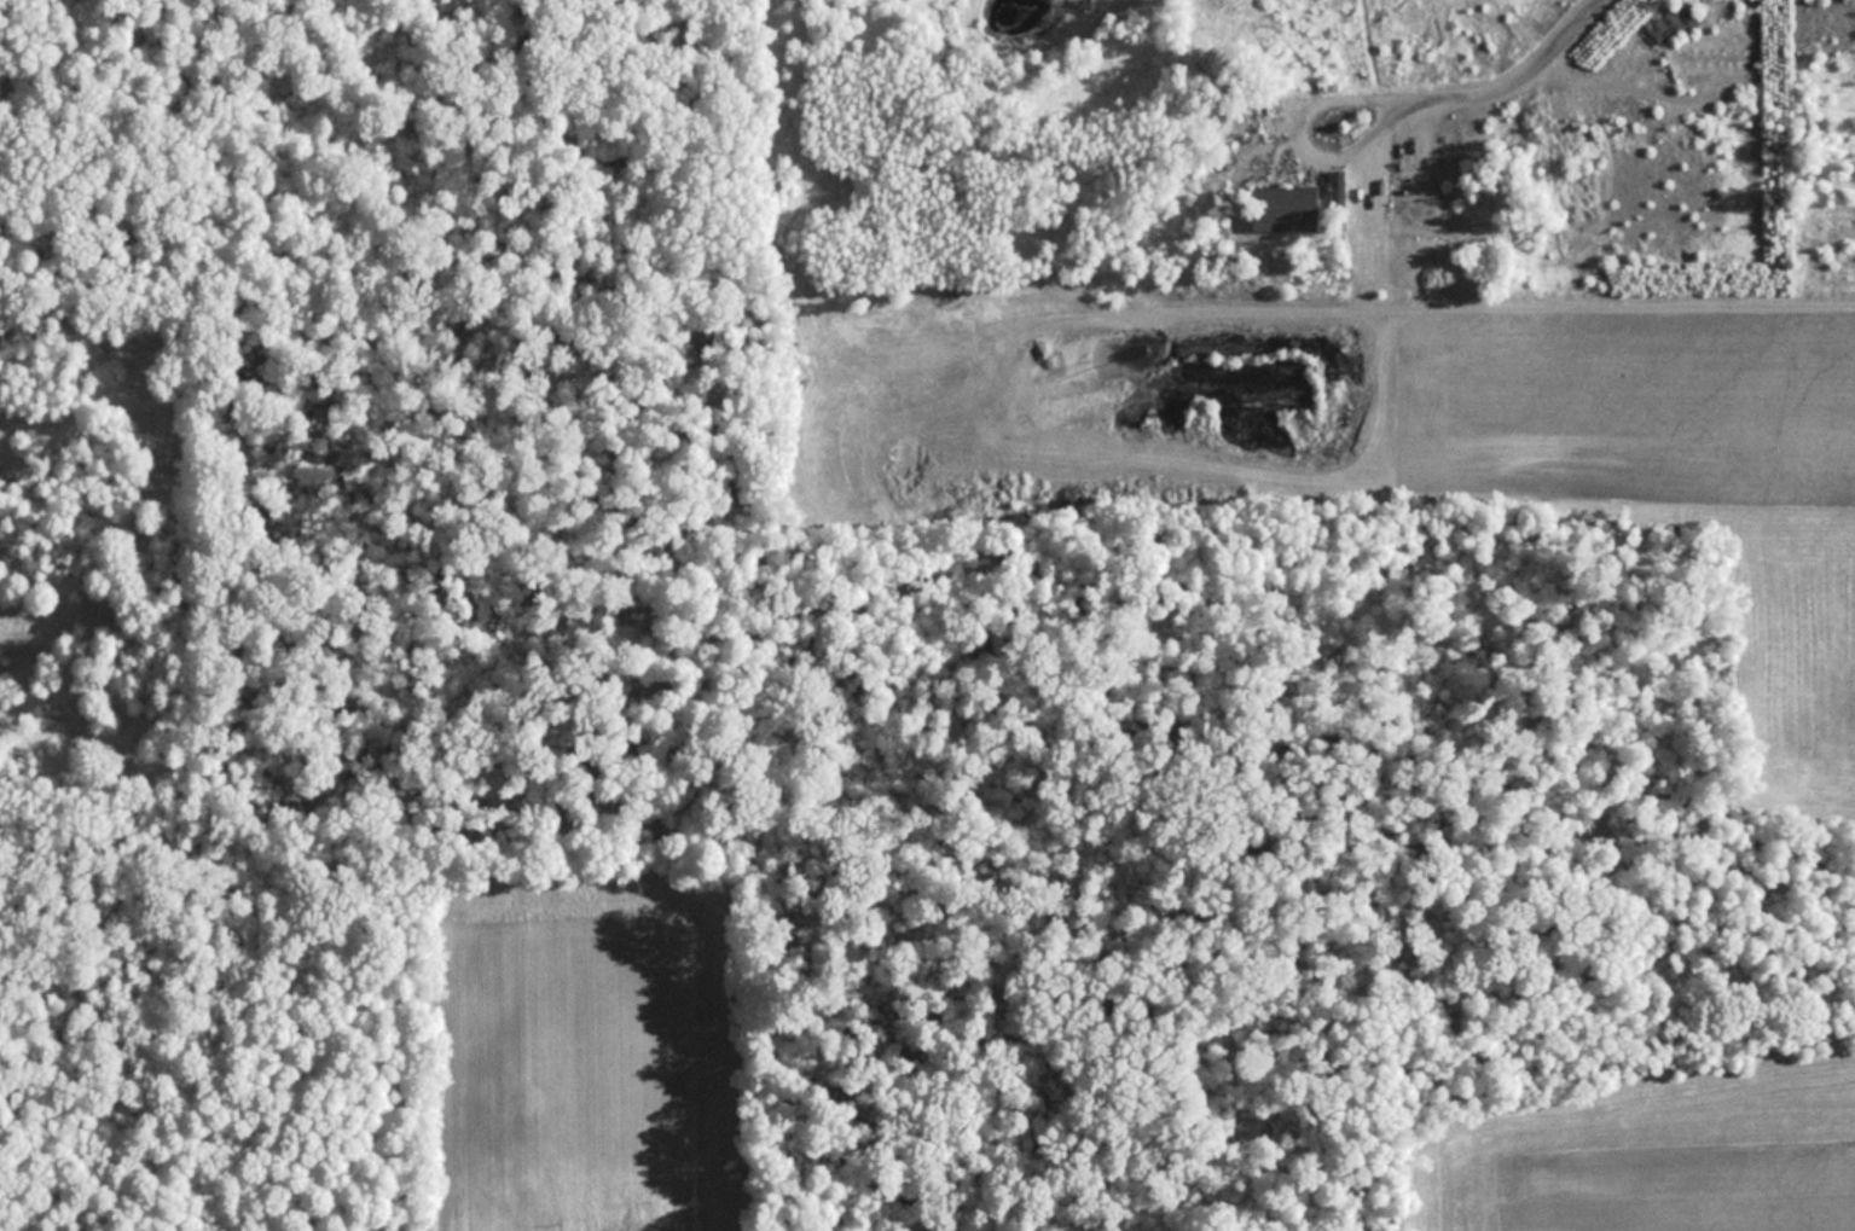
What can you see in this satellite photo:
road: (1476, 83)
building: (1337, 196)
building: (1287, 207)

